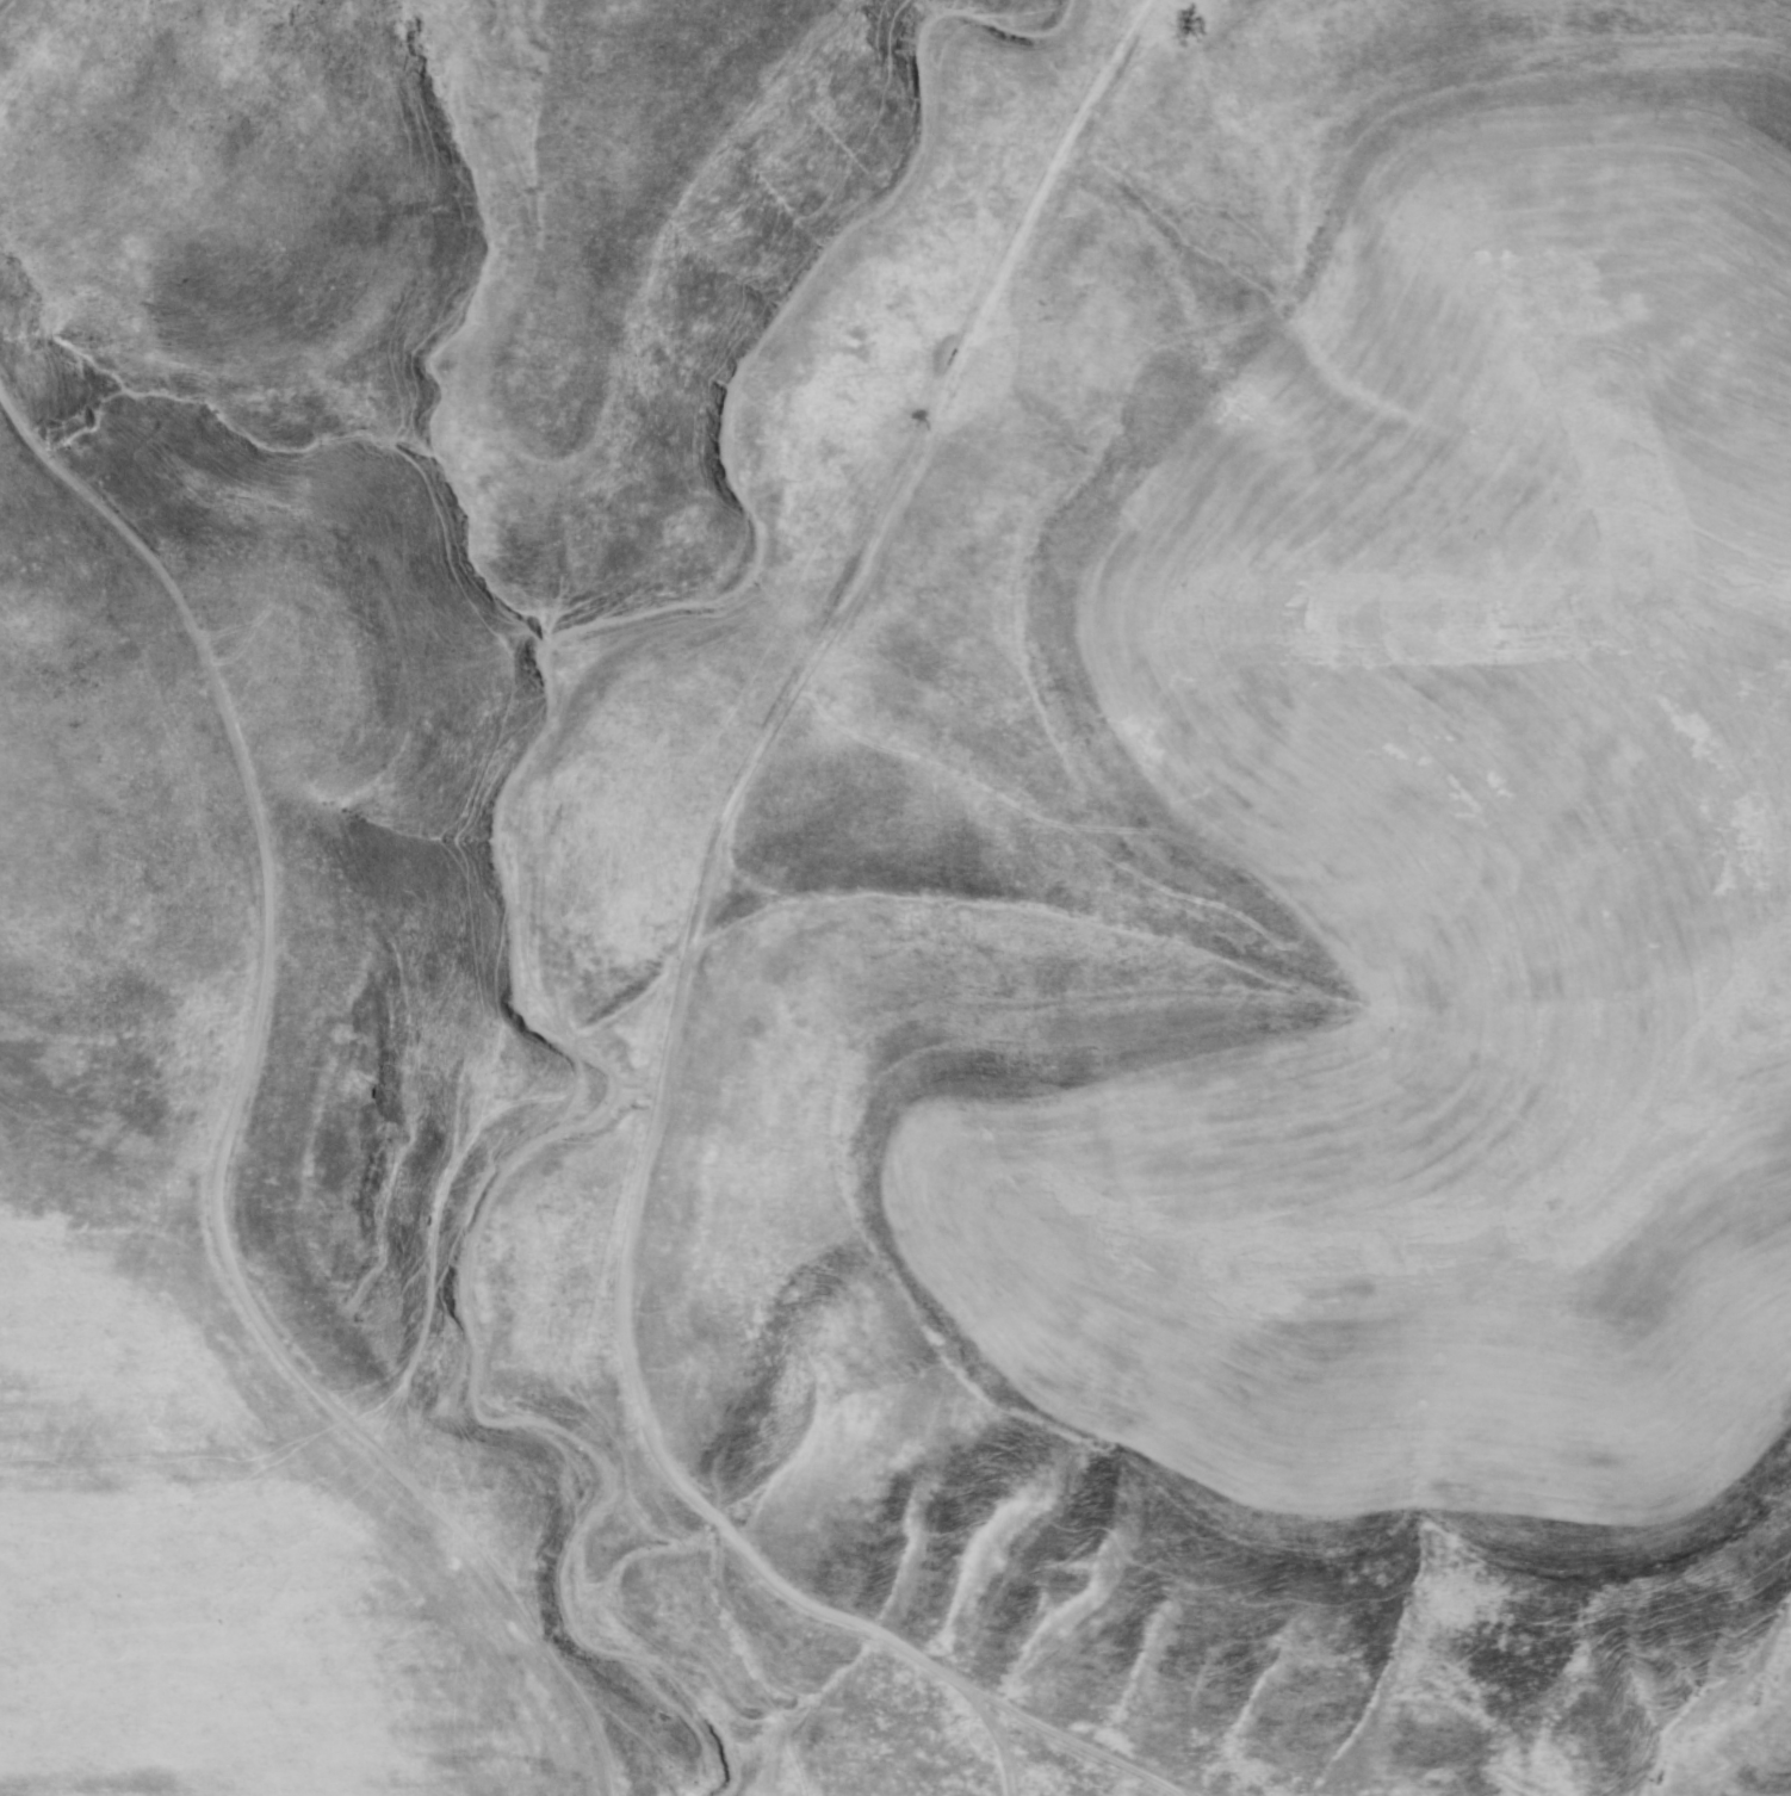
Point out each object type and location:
road: (236, 1115)

